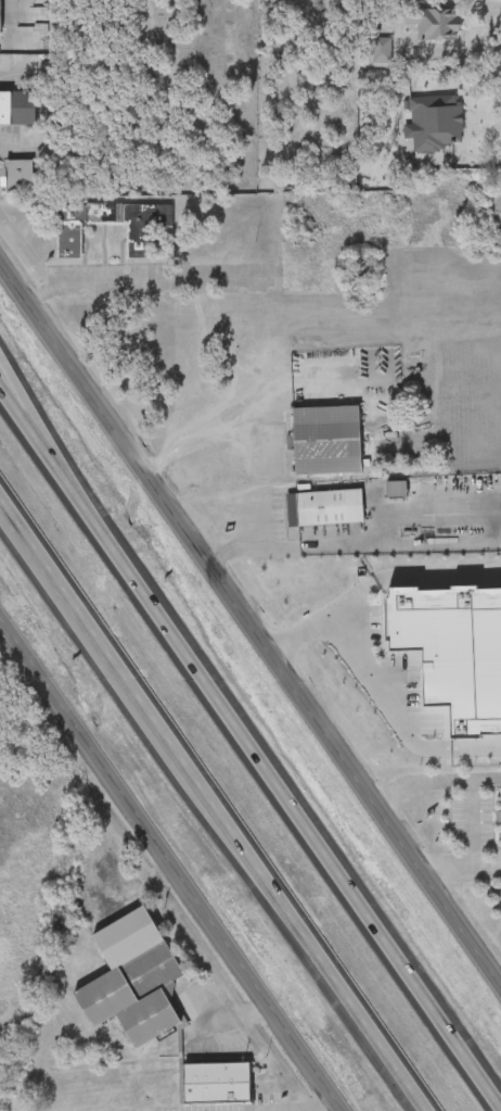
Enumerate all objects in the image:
building: (1, 16)
building: (433, 23)
building: (17, 108)
building: (20, 178)
building: (147, 231)
road: (142, 282)
road: (28, 406)
road: (25, 422)
road: (214, 429)
building: (324, 441)
road: (237, 494)
building: (324, 508)
road: (5, 512)
road: (316, 542)
road: (375, 582)
road: (251, 622)
road: (376, 681)
road: (463, 748)
road: (486, 778)
road: (465, 779)
road: (275, 781)
road: (214, 805)
building: (500, 816)
road: (171, 864)
road: (462, 868)
building: (131, 981)
road: (231, 1018)
building: (216, 1084)
road: (299, 1108)

